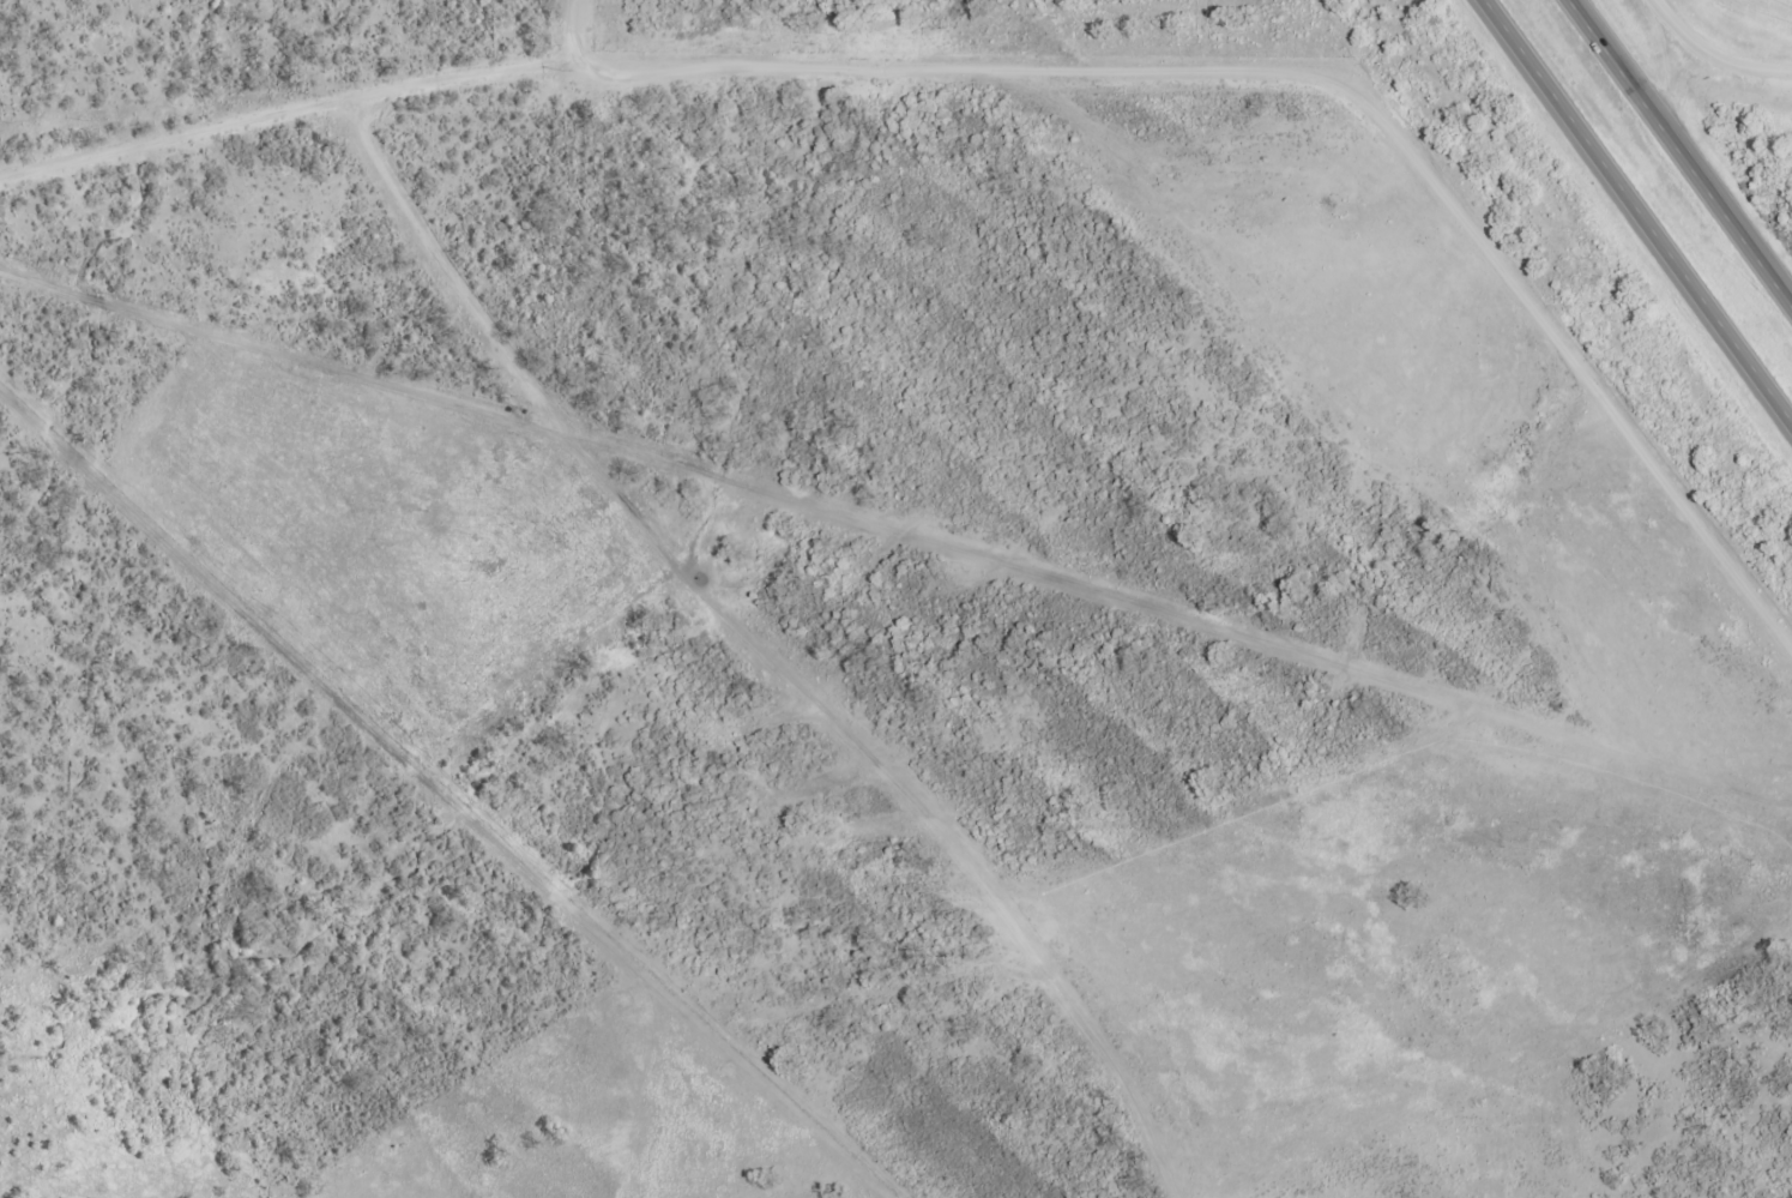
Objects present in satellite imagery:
road: (575, 30)
road: (1712, 56)
road: (1030, 73)
road: (1682, 150)
road: (1641, 207)

